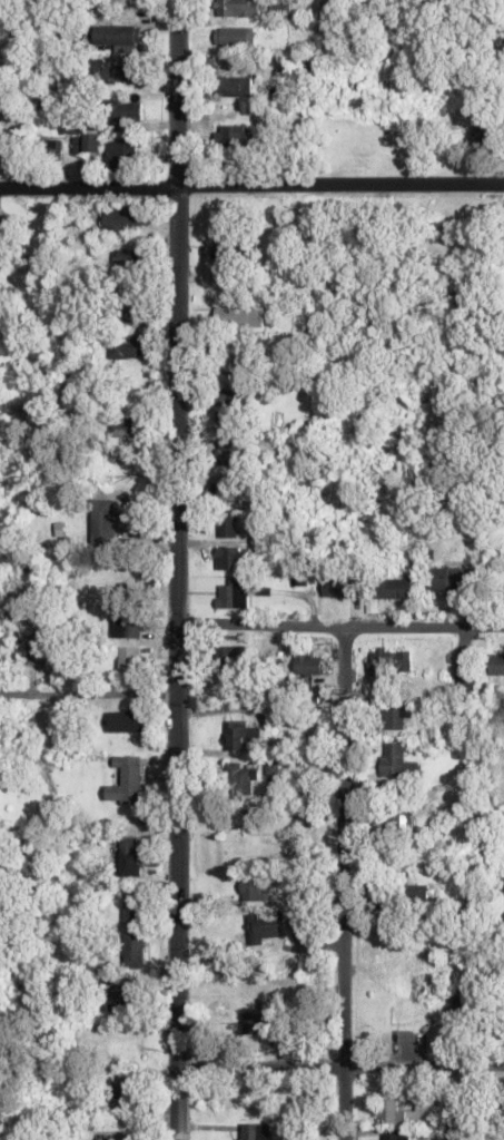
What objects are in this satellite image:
building: (239, 8)
building: (117, 36)
building: (234, 36)
building: (116, 71)
building: (234, 86)
building: (125, 110)
building: (228, 135)
building: (486, 135)
building: (89, 141)
building: (6, 148)
building: (121, 154)
road: (251, 187)
building: (122, 219)
building: (227, 247)
building: (127, 261)
building: (127, 313)
building: (239, 315)
building: (127, 346)
building: (233, 358)
building: (229, 410)
building: (129, 425)
building: (231, 453)
building: (231, 489)
building: (103, 520)
building: (228, 523)
building: (231, 558)
road: (177, 569)
building: (451, 578)
building: (339, 586)
building: (396, 588)
building: (238, 591)
building: (129, 625)
road: (339, 628)
building: (42, 648)
building: (231, 655)
building: (130, 660)
building: (389, 660)
building: (309, 664)
building: (496, 664)
building: (467, 675)
road: (88, 696)
building: (397, 717)
building: (123, 720)
building: (243, 735)
building: (395, 760)
building: (128, 779)
building: (241, 780)
building: (399, 819)
building: (129, 855)
road: (344, 884)
building: (251, 888)
building: (417, 897)
building: (134, 906)
building: (267, 926)
building: (135, 946)
building: (258, 989)
building: (122, 996)
building: (412, 1006)
building: (465, 1008)
building: (261, 1022)
road: (340, 1065)
building: (119, 1093)
building: (396, 1112)
building: (254, 1131)
building: (395, 1136)
building: (106, 1139)

